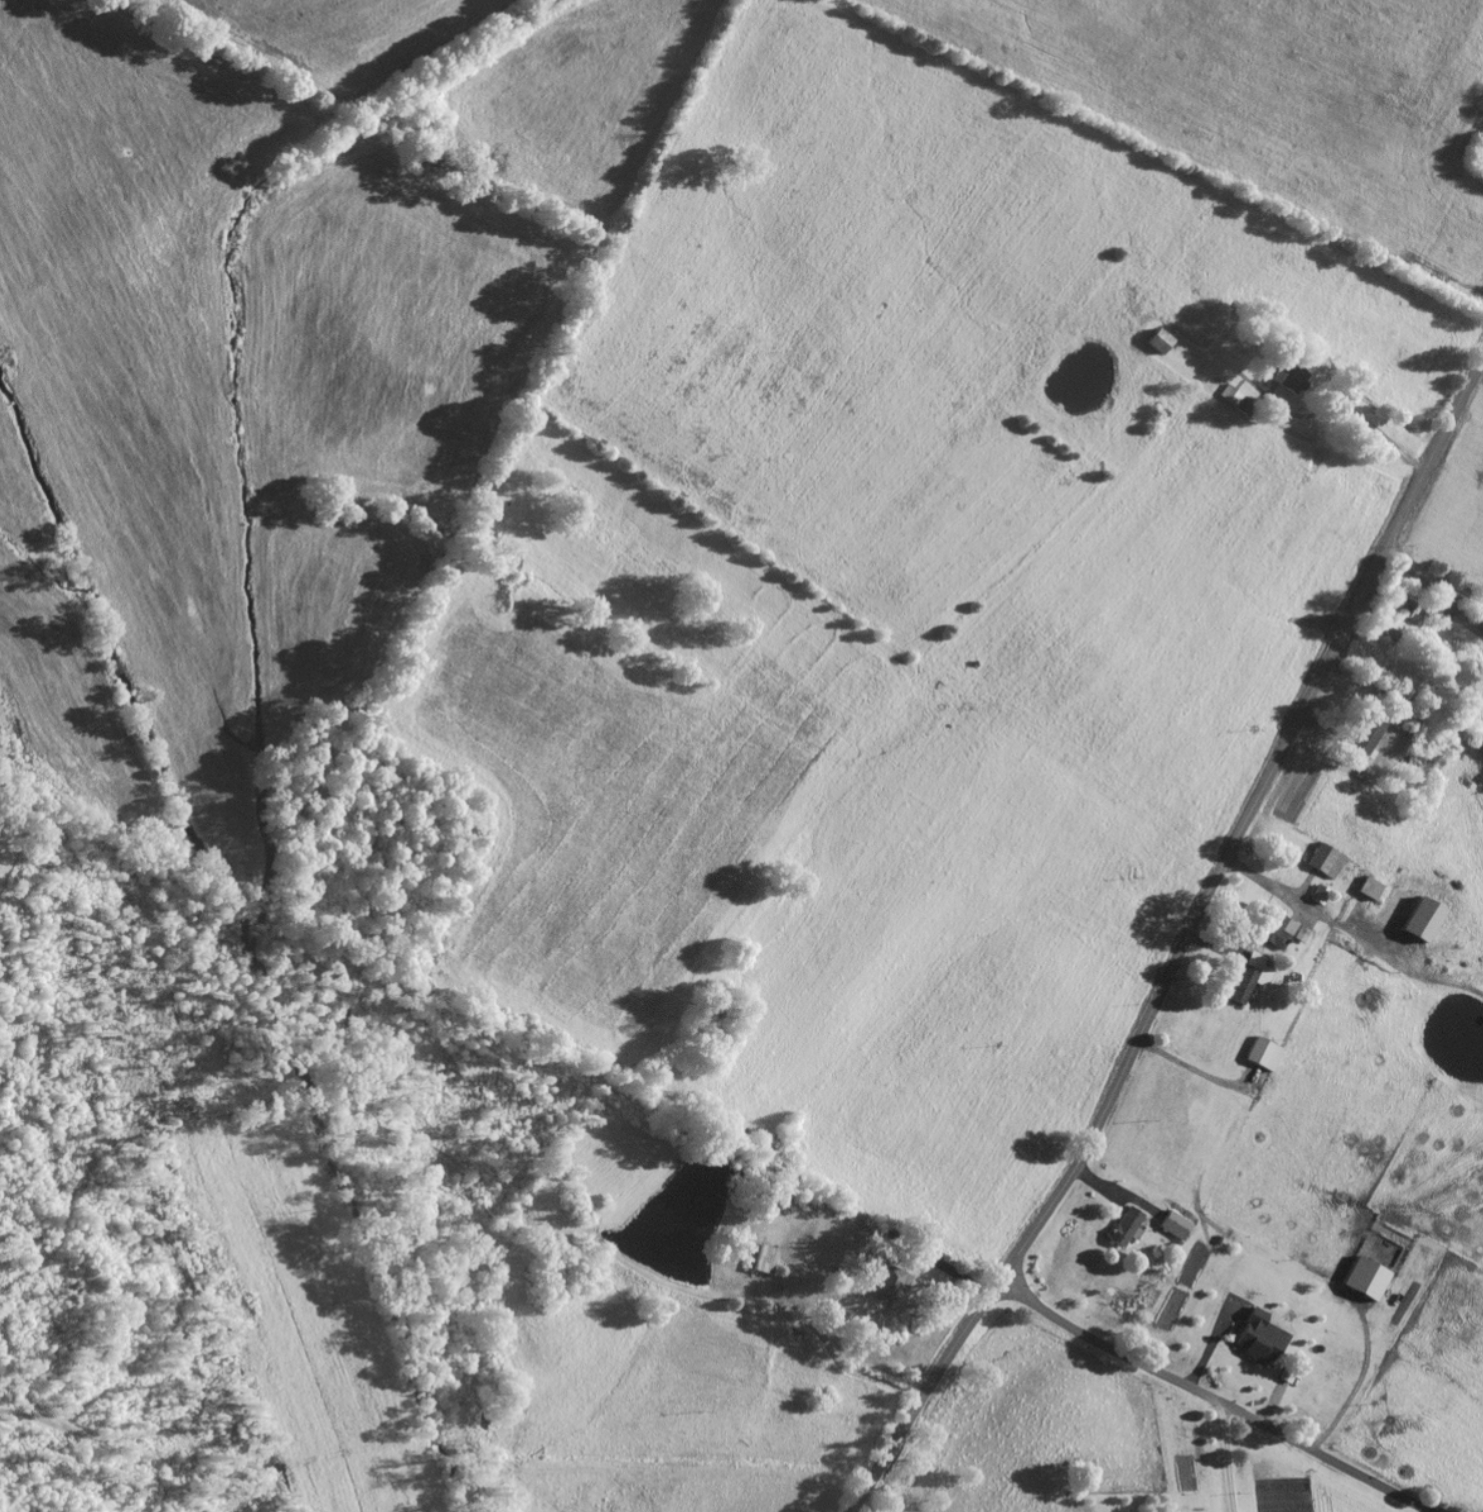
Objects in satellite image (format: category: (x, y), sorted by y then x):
building: (1160, 337)
building: (1296, 373)
building: (1230, 391)
road: (1431, 576)
building: (1404, 599)
building: (1390, 625)
building: (1367, 731)
building: (1326, 859)
building: (1368, 886)
building: (1319, 892)
building: (1421, 917)
building: (1282, 929)
road: (1182, 941)
building: (1249, 975)
building: (1263, 1052)
building: (1176, 1222)
building: (1126, 1224)
building: (929, 1255)
building: (766, 1256)
building: (1366, 1276)
building: (891, 1278)
building: (1261, 1334)
building: (1287, 1372)
road: (1215, 1397)
road: (1224, 1456)

